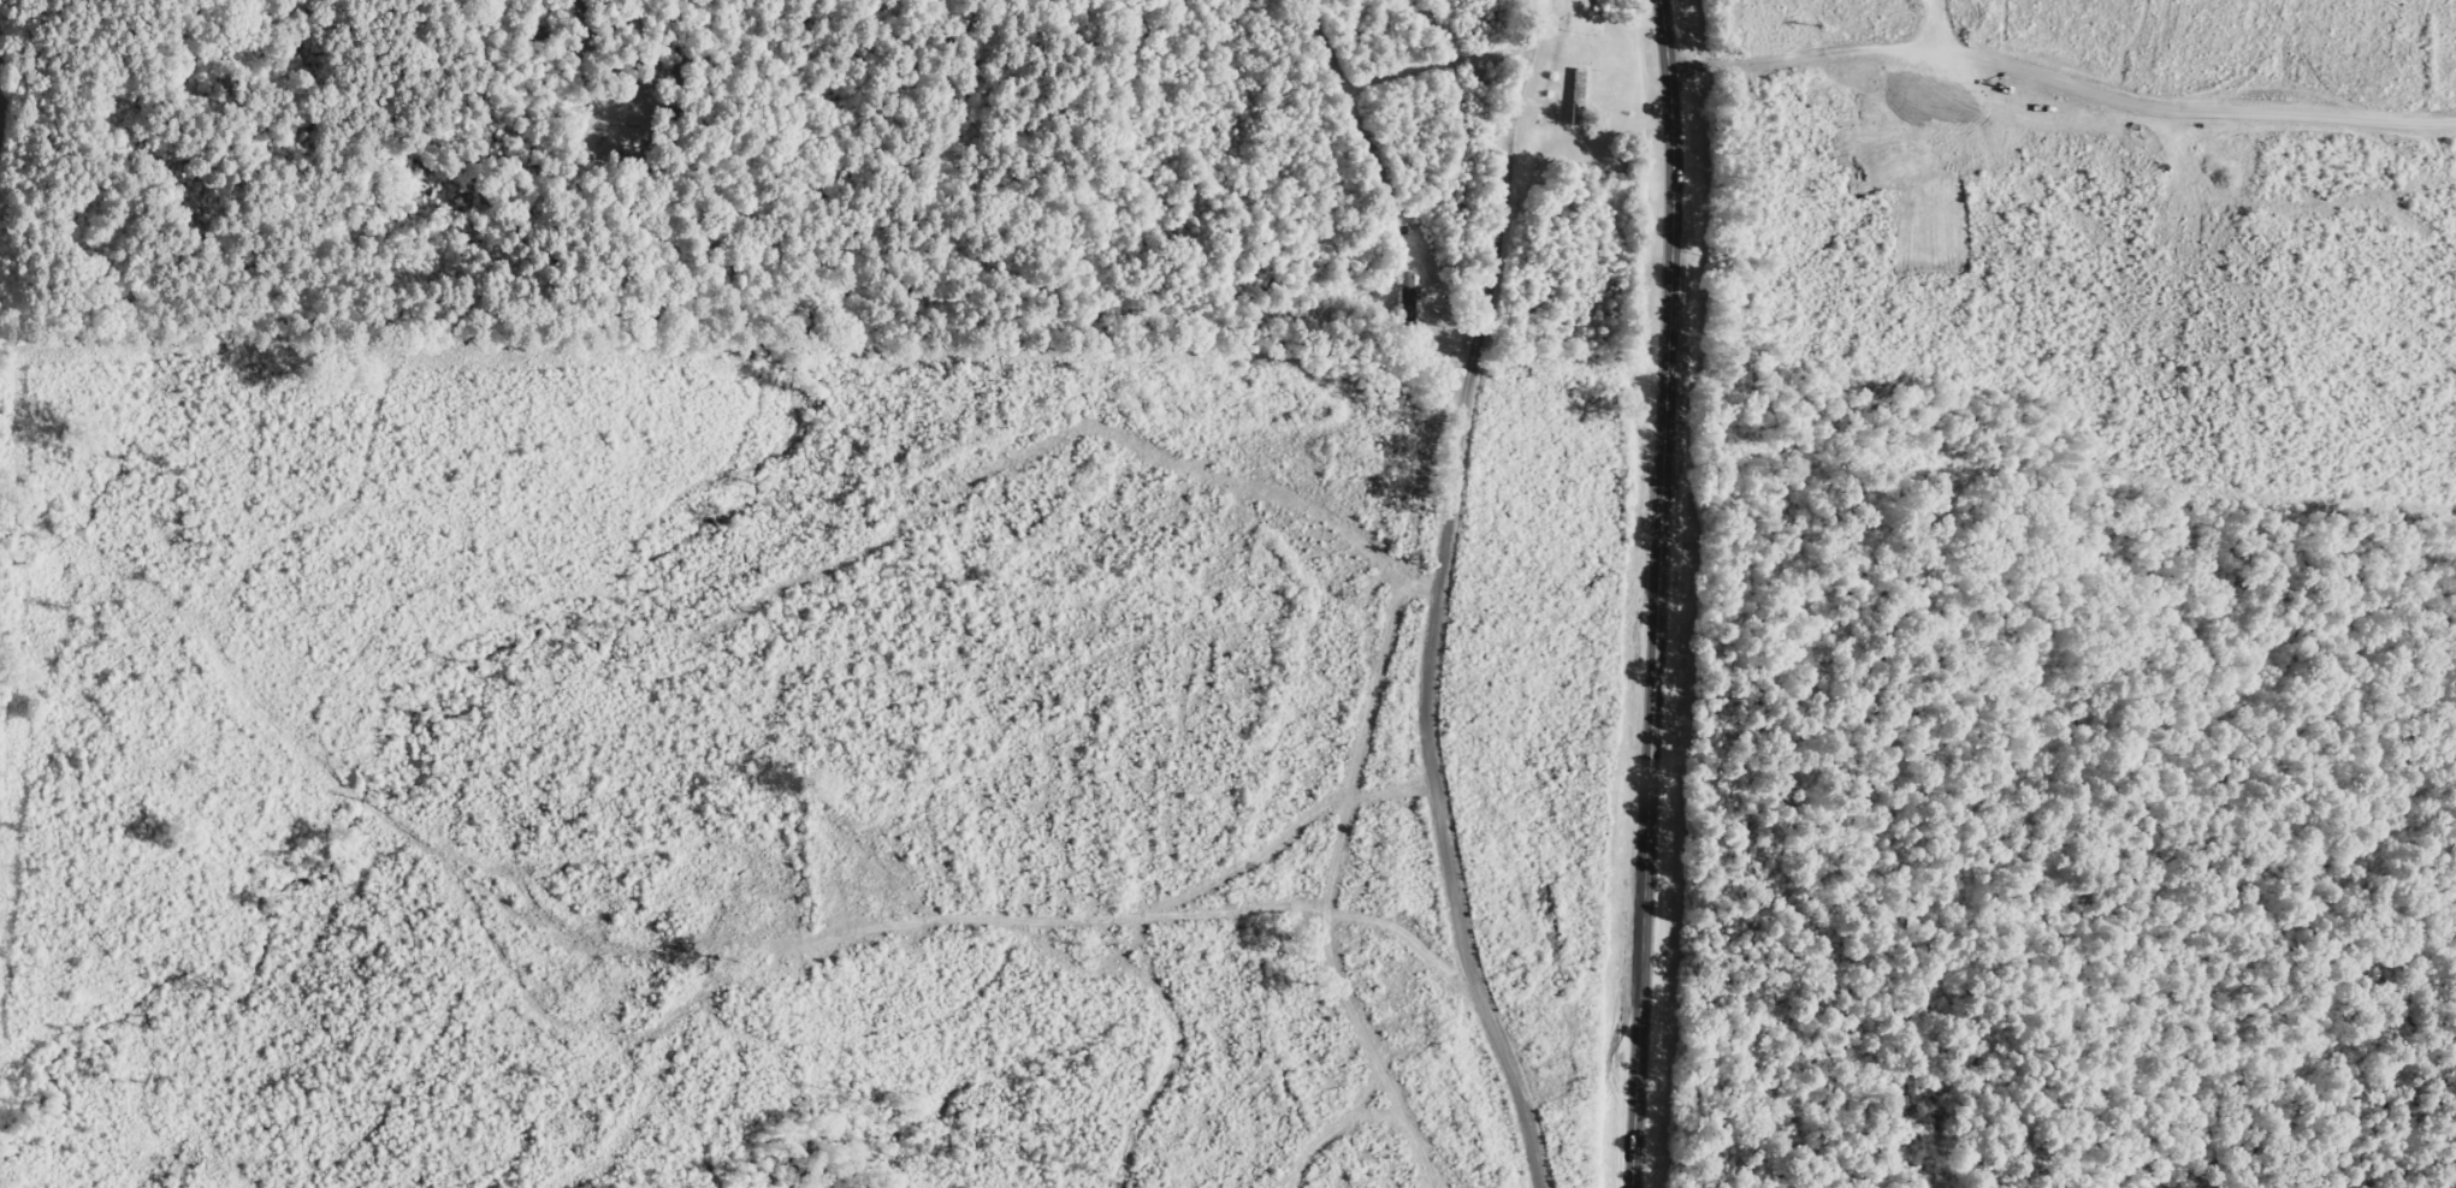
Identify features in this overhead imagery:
building: (1581, 90)
road: (1658, 593)
road: (1342, 596)

